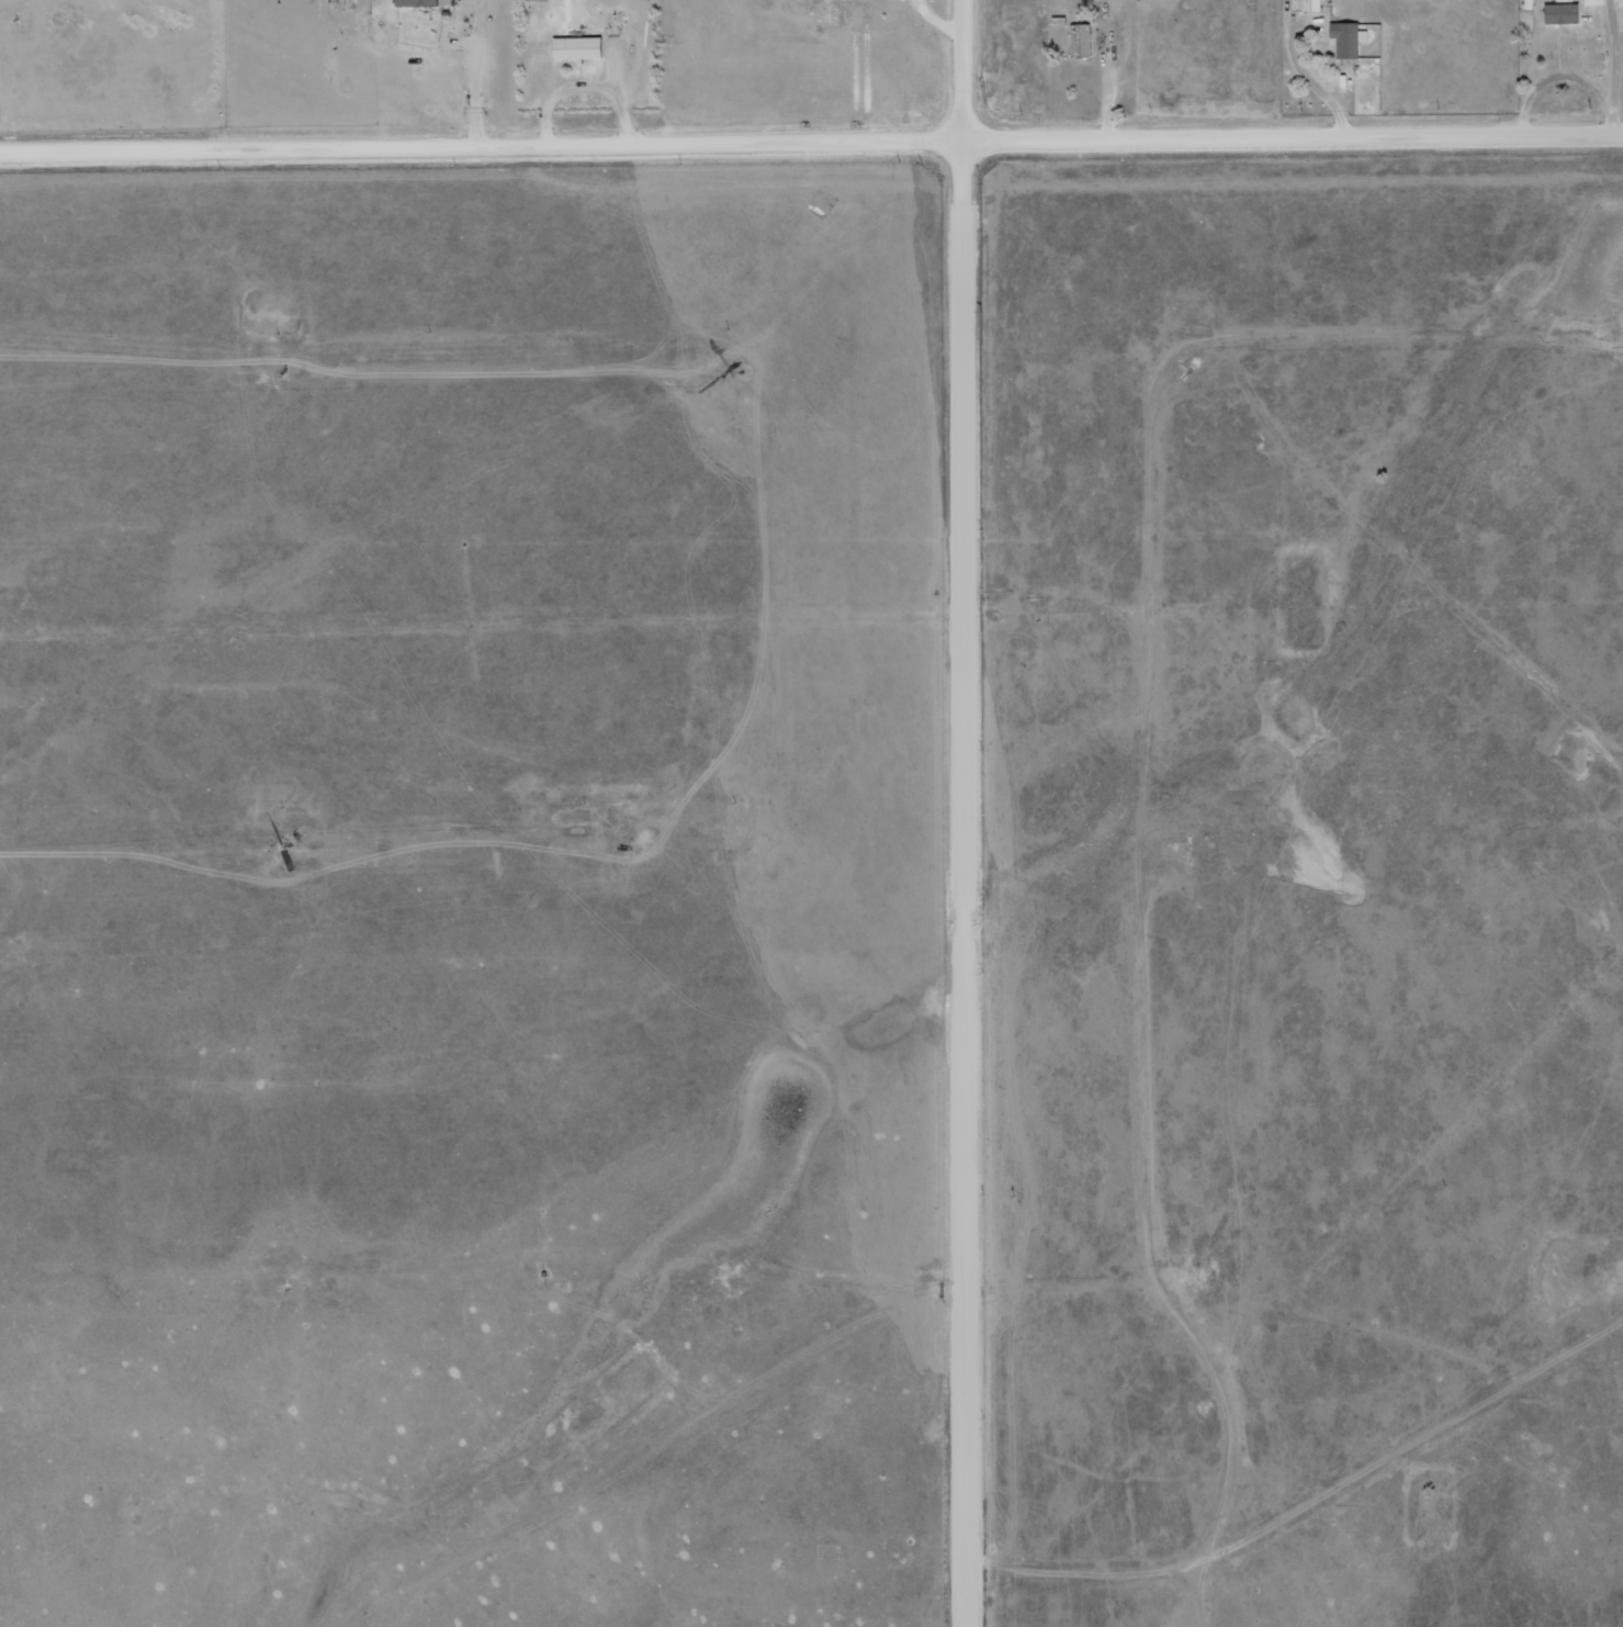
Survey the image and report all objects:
building: (425, 2)
building: (1312, 4)
building: (1563, 12)
building: (1349, 37)
building: (1082, 40)
building: (577, 47)
road: (811, 139)
road: (970, 813)

